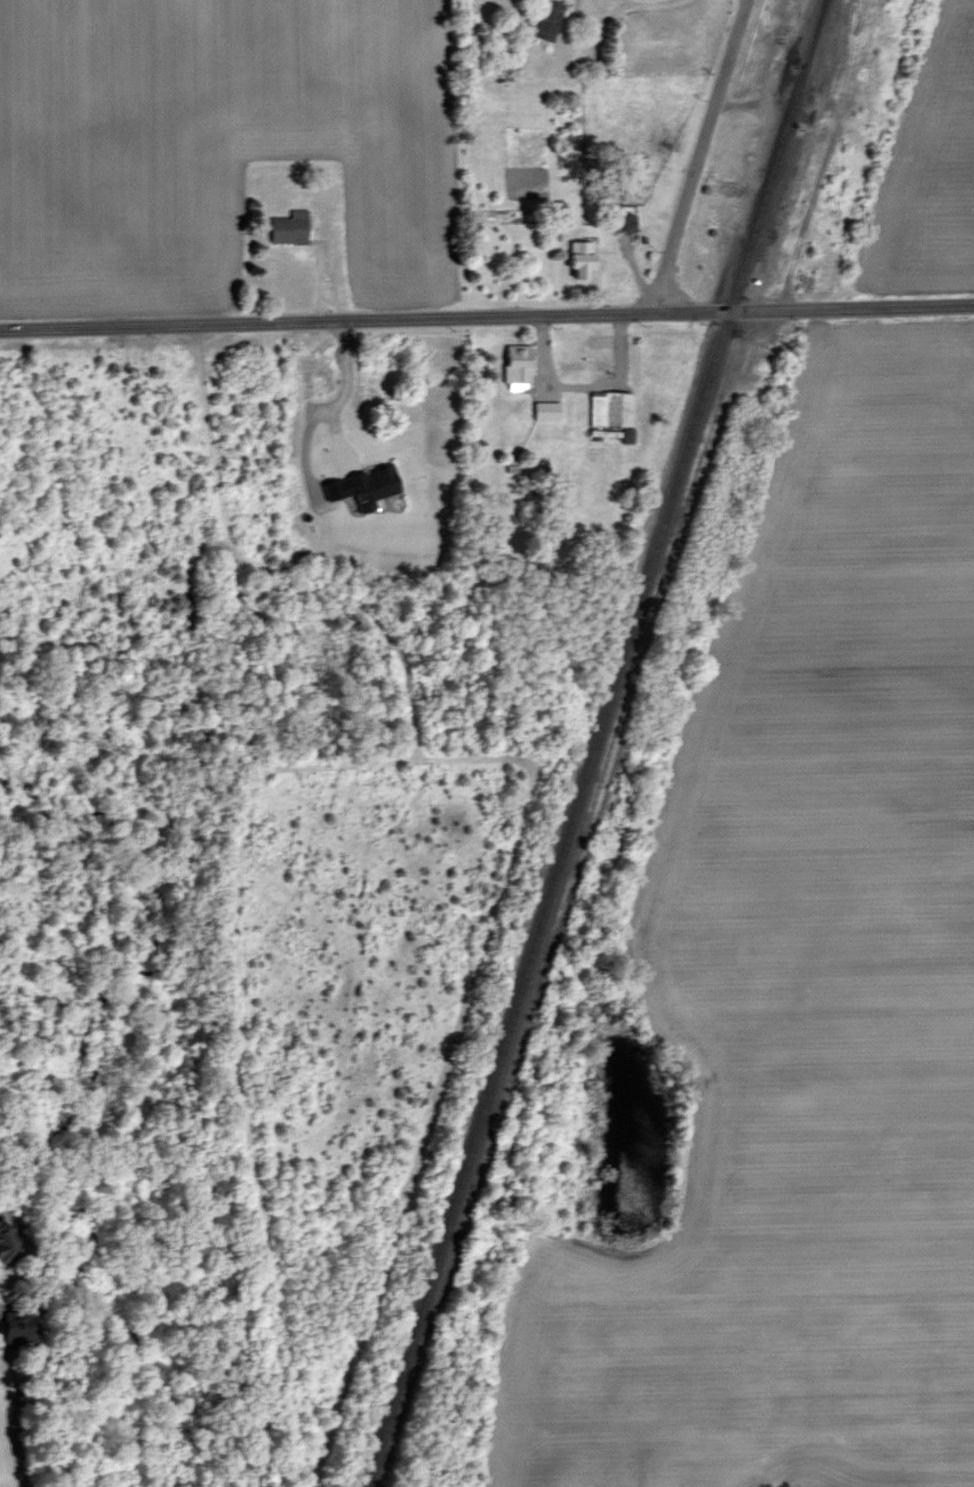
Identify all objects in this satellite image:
building: (549, 19)
road: (699, 152)
building: (625, 220)
building: (290, 226)
building: (582, 257)
road: (486, 311)
building: (519, 365)
road: (578, 378)
road: (340, 393)
building: (611, 407)
building: (547, 409)
building: (371, 485)
railway: (595, 744)
building: (7, 1241)
building: (18, 1324)

